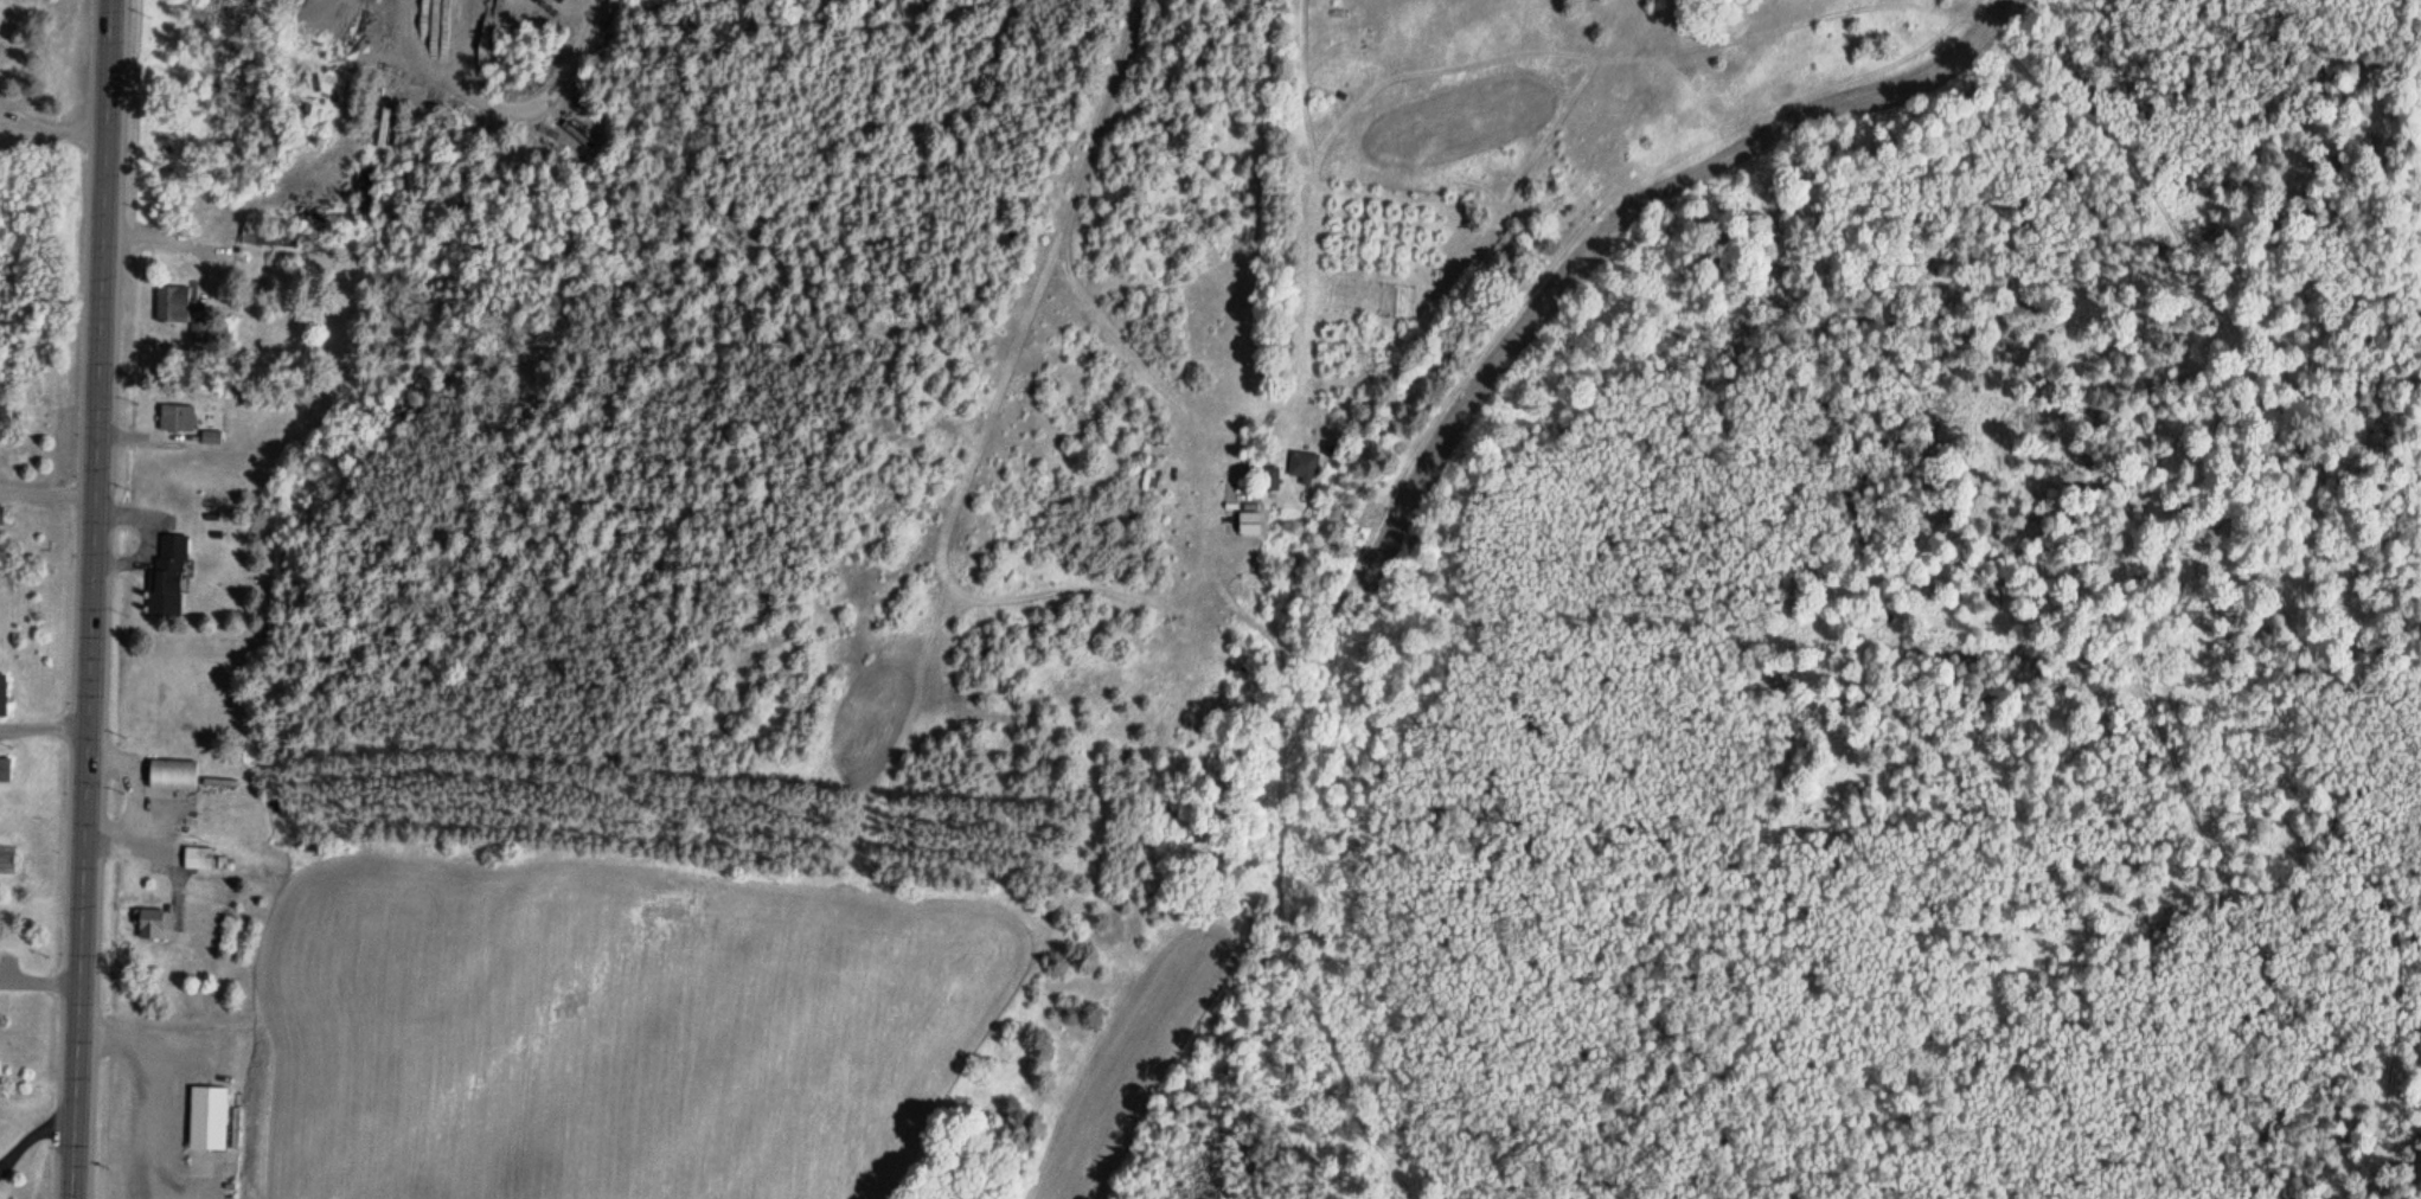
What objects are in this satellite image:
road: (501, 104)
road: (1096, 117)
road: (50, 128)
road: (2140, 187)
building: (360, 190)
building: (265, 237)
building: (180, 309)
building: (172, 417)
building: (207, 435)
building: (1305, 454)
building: (1266, 466)
building: (1301, 468)
building: (1268, 480)
building: (1251, 506)
building: (1, 517)
road: (145, 537)
building: (165, 575)
road: (1078, 589)
road: (1241, 597)
road: (87, 598)
building: (2, 691)
road: (40, 727)
building: (2, 769)
building: (169, 774)
road: (129, 786)
road: (155, 855)
building: (193, 858)
building: (218, 861)
building: (146, 925)
road: (1280, 936)
road: (143, 1047)
building: (203, 1118)
road: (146, 1123)
road: (30, 1135)

